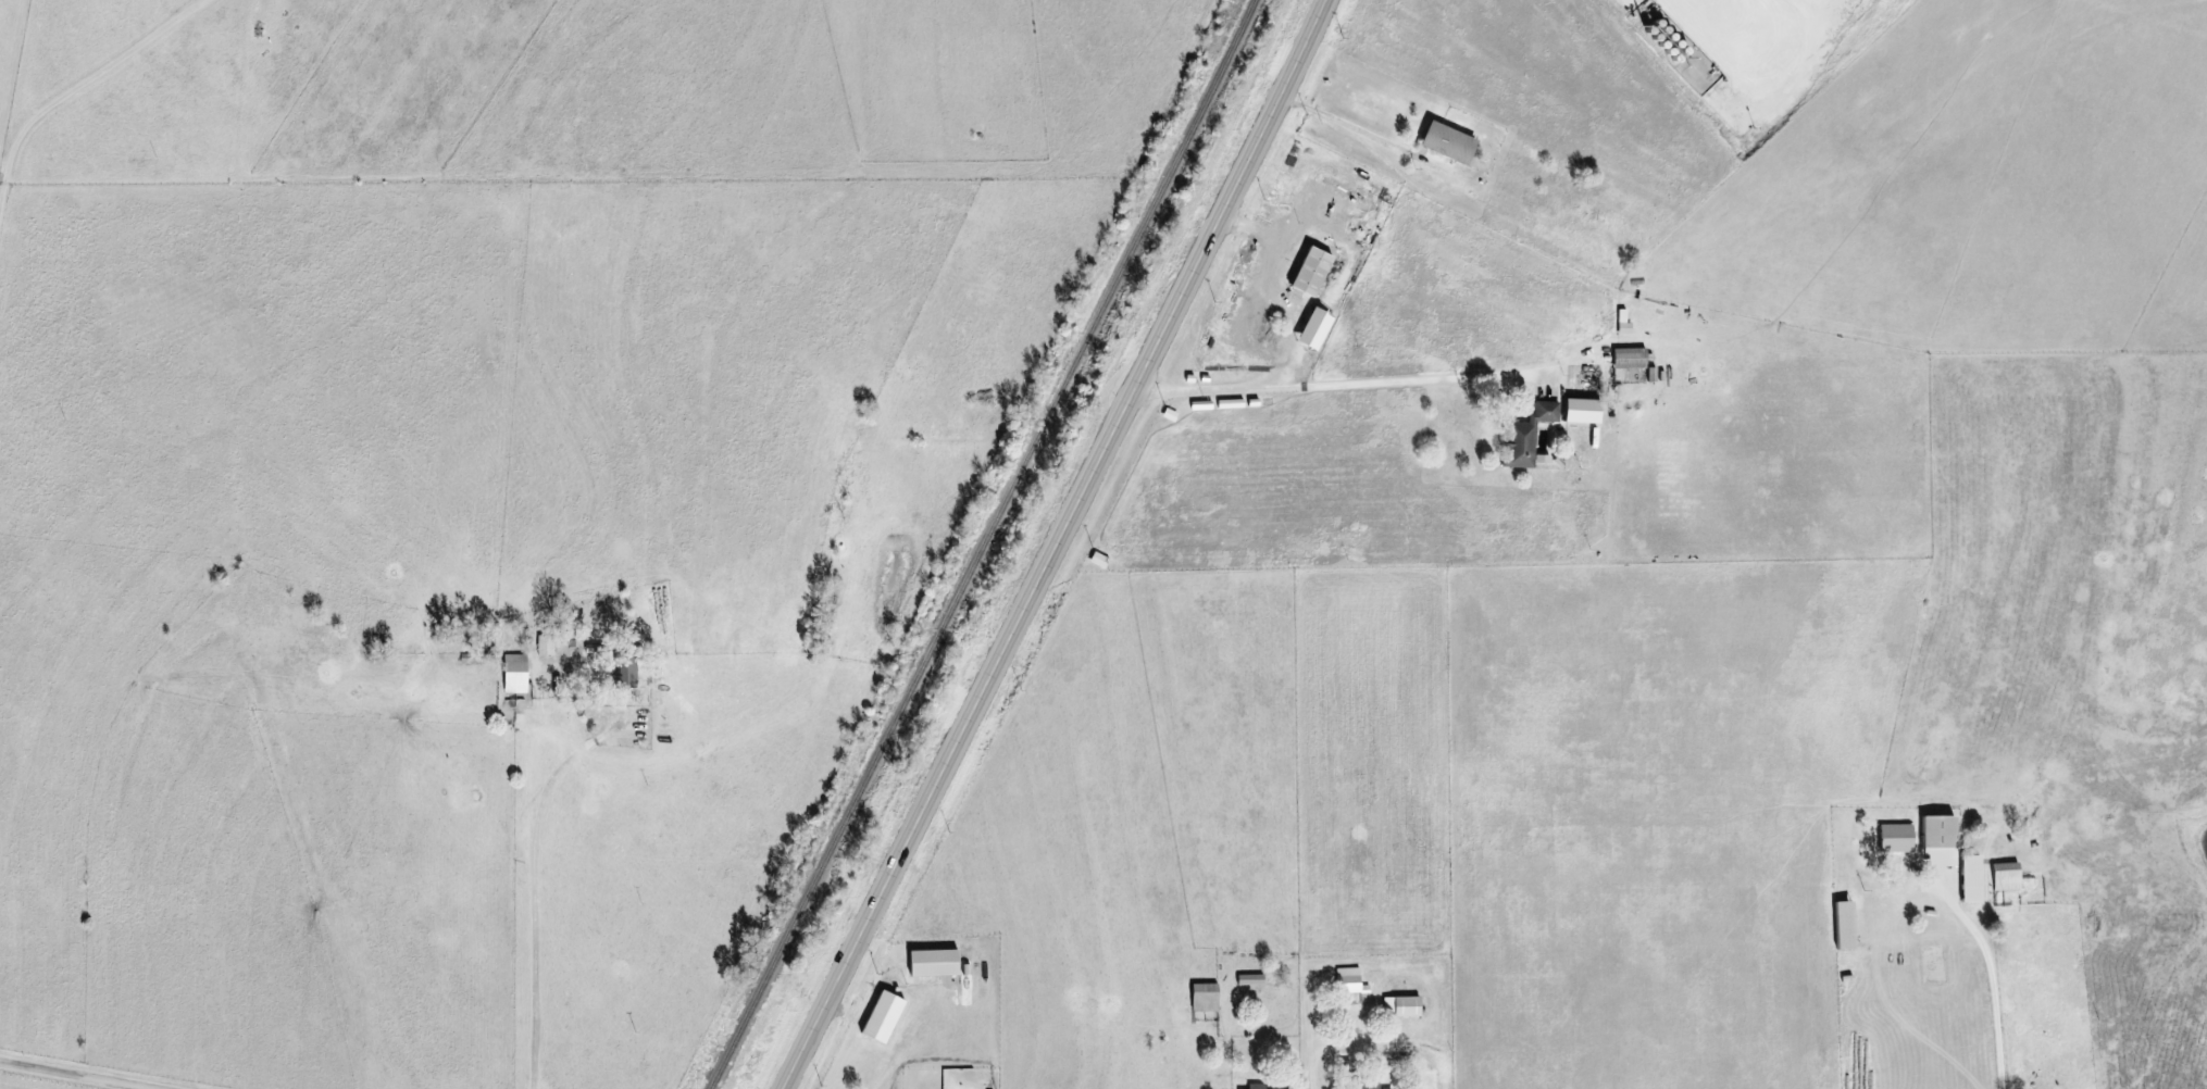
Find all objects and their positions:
road: (1726, 39)
road: (108, 73)
building: (1444, 142)
building: (1307, 272)
building: (1621, 323)
building: (1310, 328)
road: (1283, 349)
building: (1628, 358)
road: (1408, 380)
building: (1579, 411)
building: (1525, 437)
railway: (984, 544)
road: (1062, 548)
building: (544, 646)
building: (623, 667)
building: (512, 674)
building: (1893, 838)
building: (1937, 839)
building: (2004, 876)
building: (1969, 878)
road: (533, 898)
building: (1840, 925)
road: (1988, 969)
building: (1248, 979)
building: (1348, 981)
building: (1202, 997)
building: (1399, 1006)
building: (878, 1016)
road: (89, 1073)
building: (1254, 1086)

